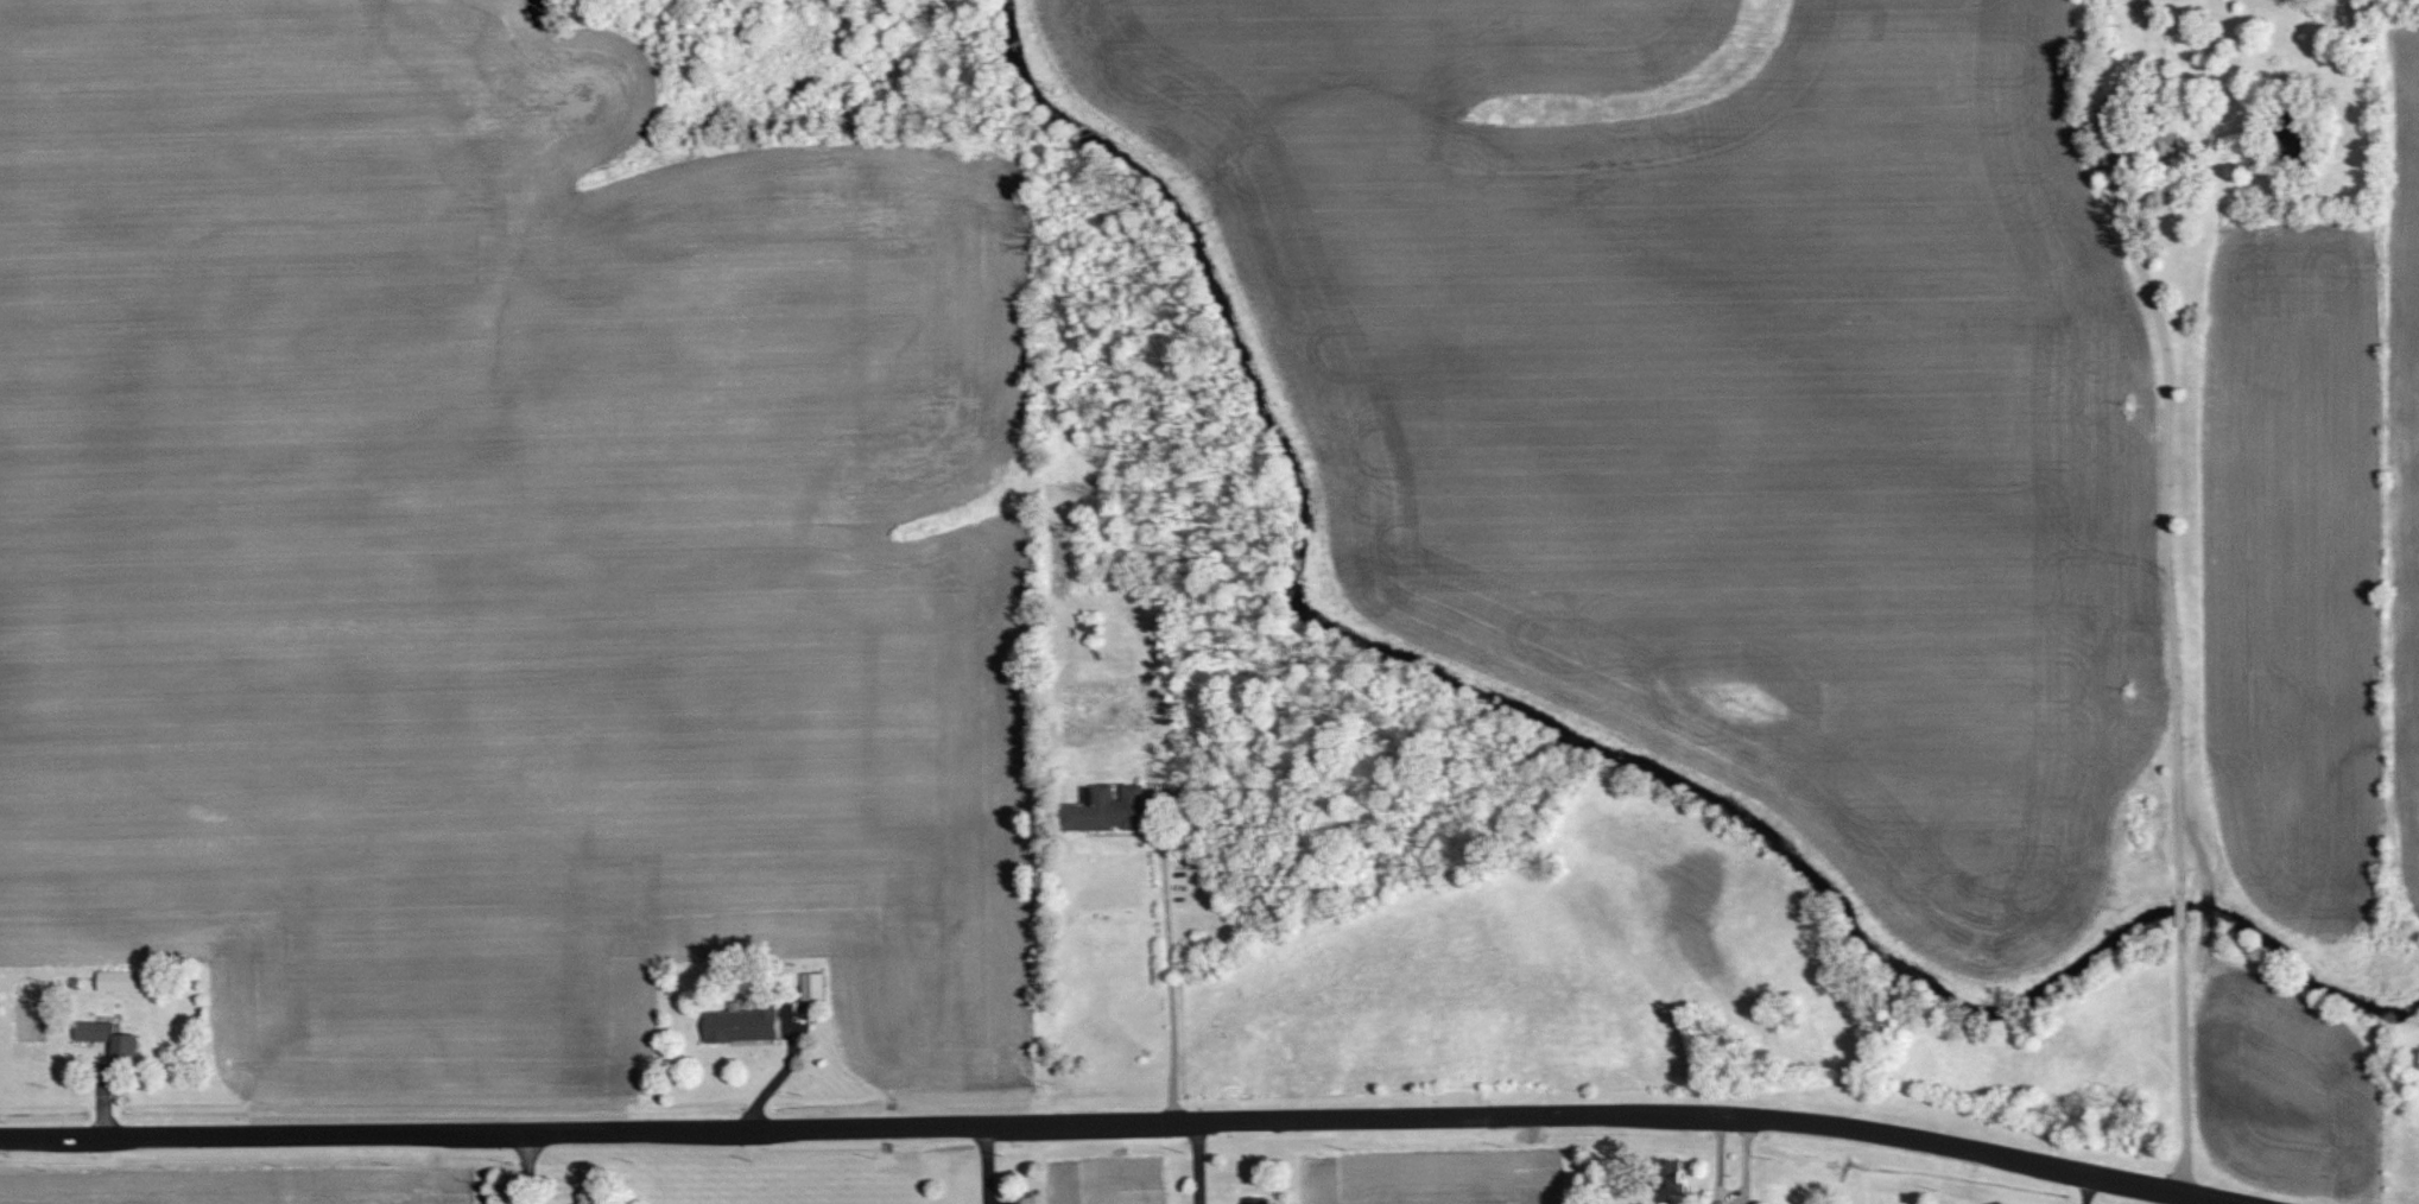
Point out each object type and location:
road: (2200, 667)
building: (1107, 809)
building: (121, 981)
building: (811, 986)
building: (740, 1024)
building: (108, 1039)
road: (1098, 1122)
building: (1671, 1183)
building: (1254, 1200)

